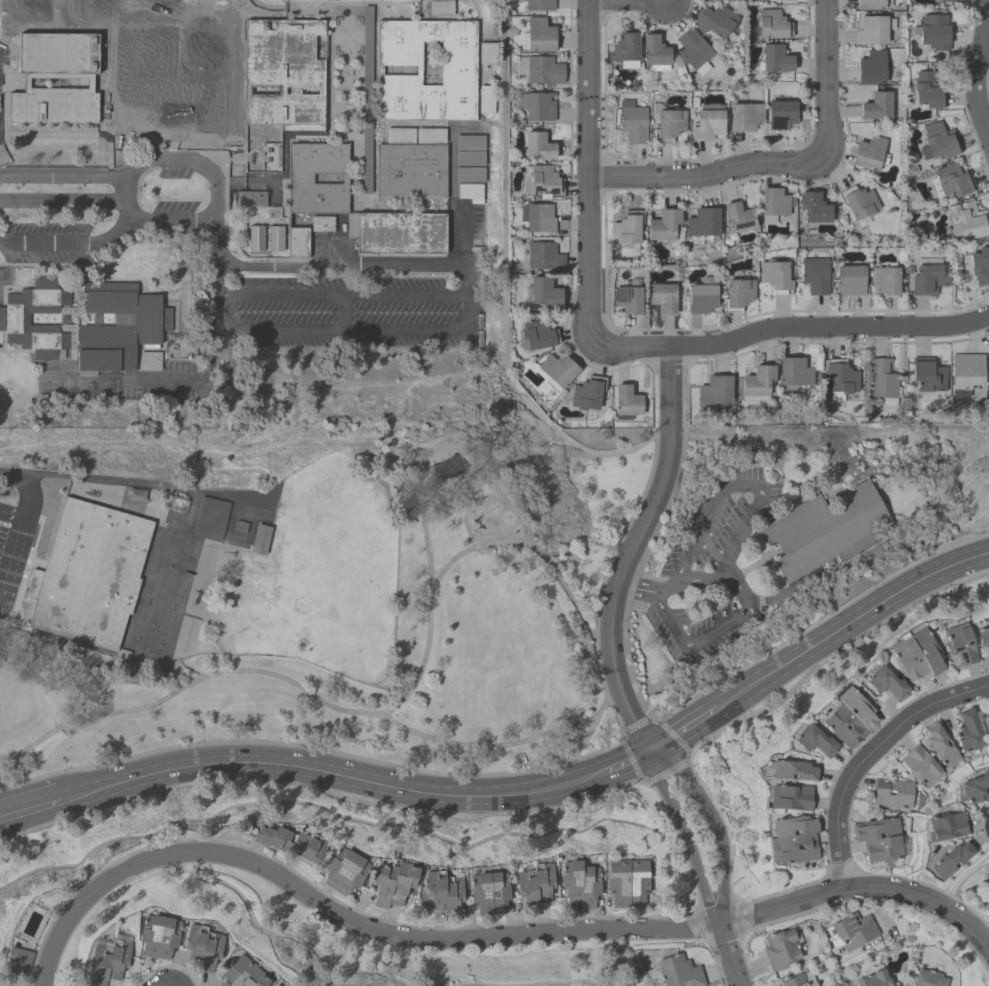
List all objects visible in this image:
building: (306, 0)
building: (938, 0)
building: (946, 0)
building: (783, 1)
road: (206, 2)
road: (629, 3)
building: (872, 4)
building: (538, 5)
building: (440, 7)
building: (716, 24)
building: (772, 24)
building: (872, 30)
building: (933, 31)
building: (539, 35)
building: (625, 50)
road: (196, 51)
building: (694, 51)
building: (487, 53)
building: (654, 54)
building: (775, 58)
road: (229, 67)
building: (871, 68)
road: (977, 68)
road: (187, 69)
building: (456, 70)
building: (540, 70)
building: (283, 72)
building: (55, 73)
road: (824, 79)
building: (928, 90)
building: (485, 99)
road: (192, 102)
building: (876, 105)
building: (536, 106)
building: (780, 114)
building: (744, 116)
building: (631, 121)
building: (707, 123)
building: (667, 125)
road: (177, 134)
building: (399, 135)
building: (430, 135)
building: (938, 141)
building: (468, 142)
building: (537, 146)
building: (868, 153)
building: (468, 158)
road: (190, 161)
building: (409, 171)
road: (586, 171)
building: (468, 174)
road: (705, 174)
road: (58, 176)
building: (316, 178)
building: (953, 180)
building: (544, 182)
road: (118, 189)
building: (470, 192)
building: (250, 198)
road: (353, 199)
road: (60, 202)
building: (774, 203)
building: (858, 204)
building: (813, 208)
building: (537, 217)
building: (738, 217)
building: (257, 220)
road: (200, 221)
building: (702, 222)
building: (968, 222)
building: (322, 224)
building: (663, 224)
road: (125, 225)
building: (626, 228)
building: (400, 233)
building: (255, 238)
building: (274, 238)
building: (297, 242)
road: (59, 247)
road: (465, 253)
building: (543, 256)
road: (339, 263)
building: (979, 266)
building: (814, 275)
building: (774, 276)
building: (928, 279)
building: (849, 280)
building: (884, 280)
building: (544, 292)
building: (737, 294)
building: (702, 295)
road: (279, 296)
road: (404, 296)
building: (662, 297)
building: (627, 299)
road: (343, 313)
building: (39, 324)
road: (790, 327)
road: (264, 328)
road: (423, 331)
building: (537, 334)
building: (149, 361)
building: (556, 370)
building: (794, 373)
building: (965, 373)
building: (927, 374)
building: (840, 379)
building: (882, 382)
building: (757, 384)
building: (715, 390)
building: (587, 393)
building: (626, 401)
road: (446, 449)
road: (131, 484)
road: (11, 511)
road: (17, 517)
building: (210, 518)
road: (9, 520)
road: (523, 522)
road: (741, 533)
building: (825, 534)
building: (259, 539)
road: (757, 548)
road: (630, 549)
parking lot: (13, 555)
road: (14, 558)
road: (749, 569)
parking lot: (708, 571)
building: (88, 574)
road: (700, 578)
park: (498, 588)
road: (567, 595)
road: (660, 596)
road: (848, 619)
building: (982, 636)
building: (959, 645)
building: (915, 655)
building: (885, 683)
road: (358, 714)
building: (850, 717)
road: (682, 726)
building: (986, 727)
building: (968, 732)
building: (814, 740)
building: (940, 744)
road: (582, 745)
road: (498, 748)
road: (867, 756)
road: (626, 760)
building: (921, 766)
building: (793, 770)
road: (333, 776)
road: (67, 779)
building: (975, 788)
building: (892, 793)
building: (791, 797)
road: (31, 814)
road: (712, 821)
building: (946, 827)
road: (682, 832)
building: (795, 838)
building: (878, 839)
building: (291, 843)
building: (952, 859)
building: (988, 870)
building: (343, 871)
building: (392, 883)
building: (579, 883)
building: (627, 883)
building: (534, 885)
road: (862, 890)
building: (443, 892)
building: (488, 892)
road: (341, 917)
building: (852, 931)
building: (158, 936)
building: (202, 948)
building: (779, 949)
road: (729, 951)
building: (109, 959)
building: (18, 961)
building: (678, 972)
building: (243, 974)
building: (928, 978)
building: (873, 979)
building: (799, 980)
road: (166, 985)
building: (280, 985)

